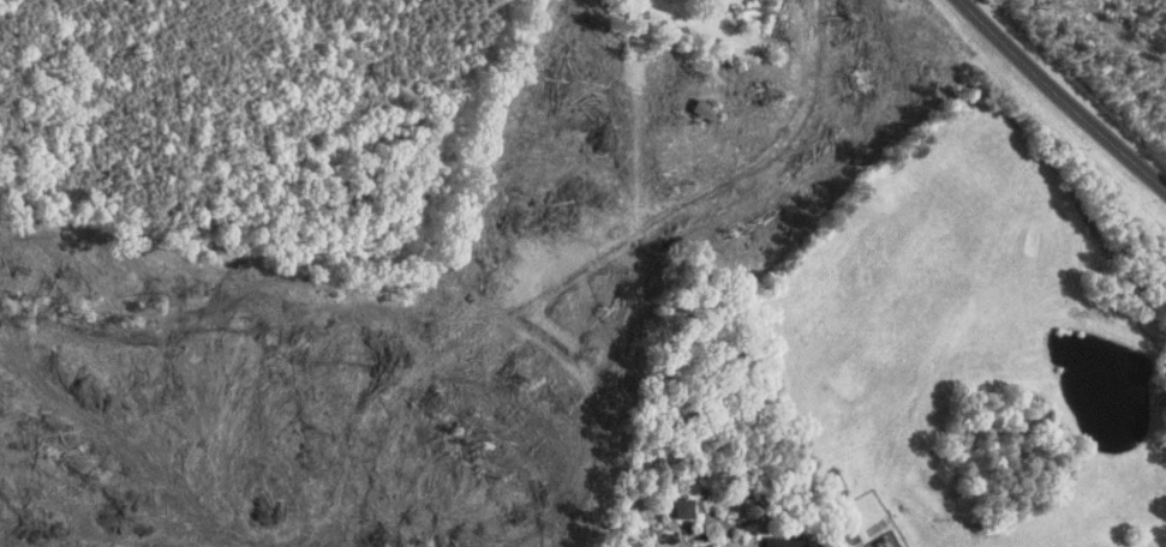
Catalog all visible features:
road: (1062, 97)
building: (687, 507)
building: (787, 541)

